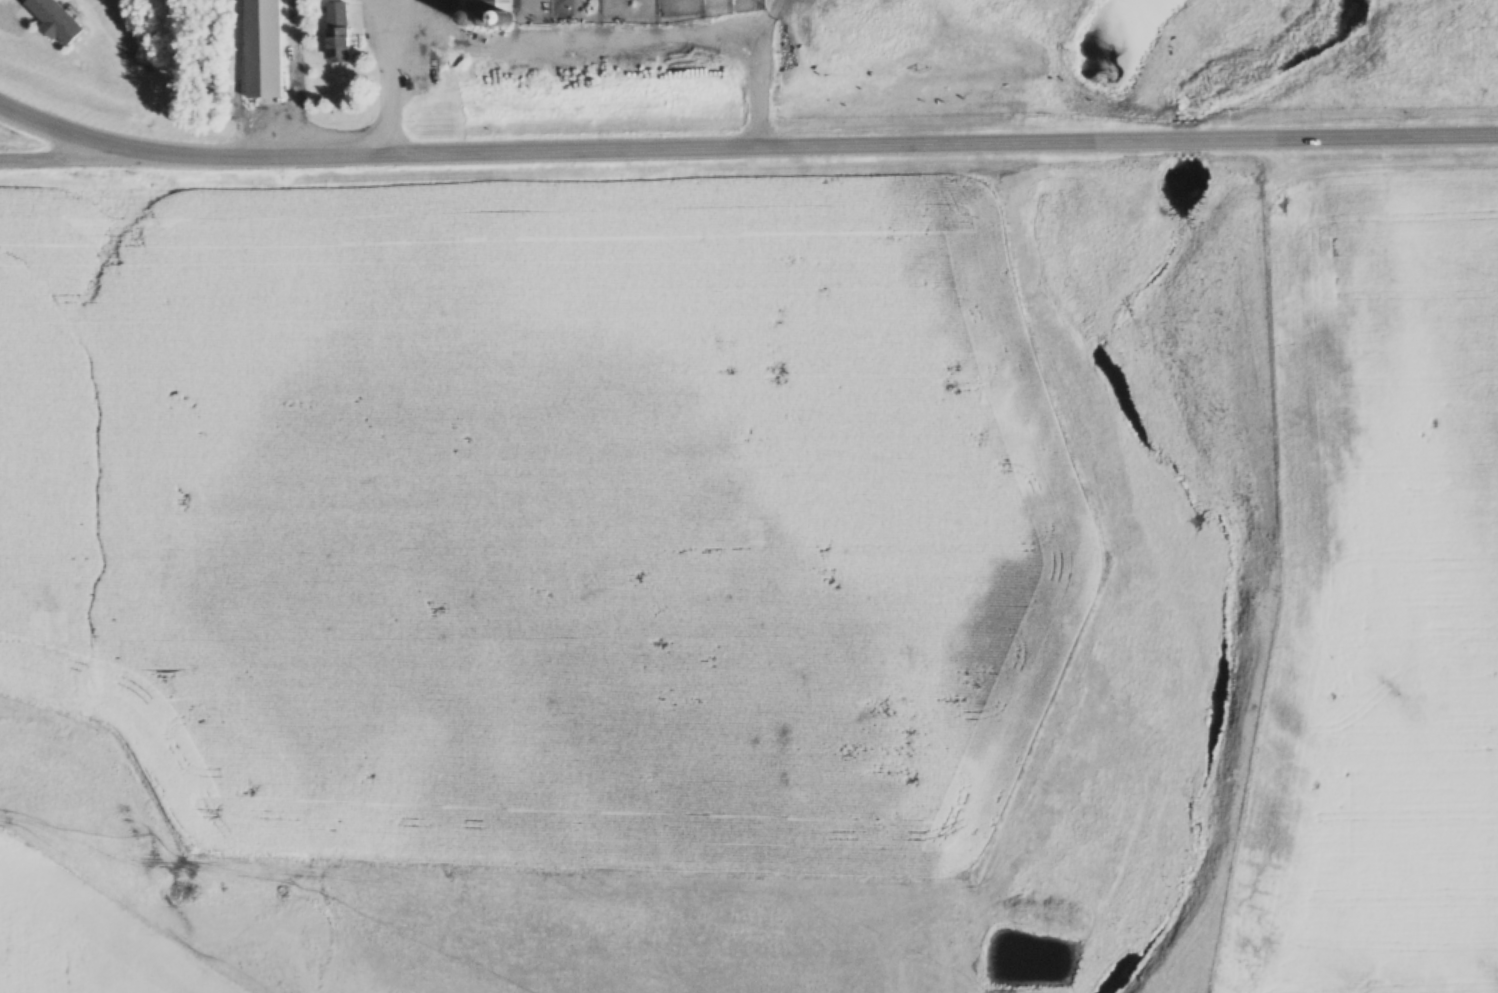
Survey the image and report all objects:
building: (478, 5)
building: (57, 20)
building: (340, 32)
building: (266, 55)
road: (86, 144)
road: (838, 153)
road: (89, 164)

